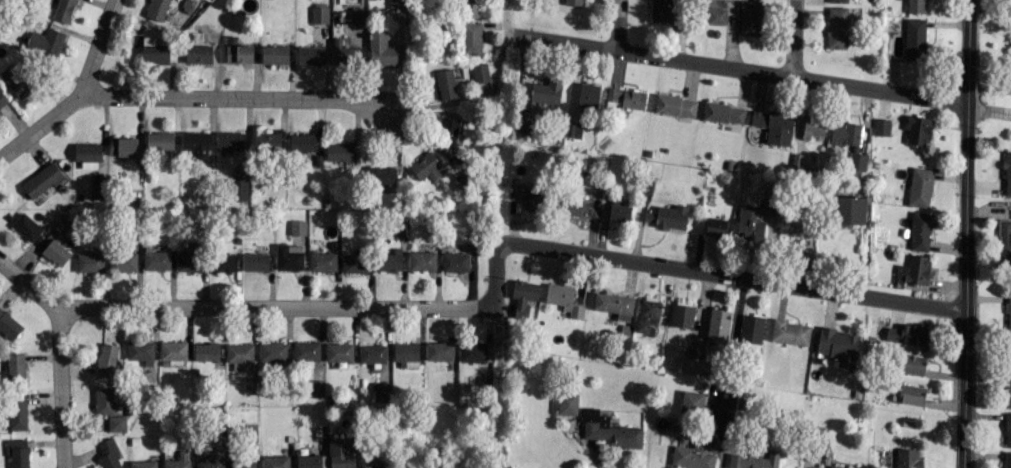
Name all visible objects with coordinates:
building: (1010, 0)
building: (837, 1)
building: (574, 2)
building: (396, 3)
building: (916, 6)
building: (472, 8)
building: (157, 9)
building: (64, 10)
building: (661, 10)
building: (319, 14)
building: (357, 15)
building: (716, 16)
road: (506, 17)
building: (748, 17)
road: (617, 23)
building: (836, 27)
road: (791, 37)
building: (470, 38)
building: (914, 39)
building: (45, 43)
building: (380, 49)
building: (237, 52)
building: (155, 53)
building: (344, 53)
building: (197, 54)
building: (274, 55)
building: (310, 55)
road: (737, 66)
building: (479, 73)
building: (16, 79)
building: (445, 84)
building: (546, 91)
road: (79, 93)
building: (587, 95)
road: (238, 98)
building: (625, 98)
building: (2, 99)
building: (674, 105)
road: (989, 110)
building: (0, 113)
building: (723, 113)
building: (774, 125)
building: (813, 127)
building: (881, 127)
building: (917, 130)
building: (447, 131)
building: (159, 140)
building: (230, 141)
building: (848, 141)
building: (266, 142)
building: (302, 142)
building: (196, 144)
building: (123, 146)
building: (339, 151)
building: (87, 155)
building: (427, 166)
building: (1007, 173)
building: (380, 175)
building: (41, 180)
building: (919, 187)
building: (239, 189)
building: (94, 193)
building: (528, 195)
building: (572, 203)
building: (848, 209)
building: (619, 211)
building: (667, 217)
building: (749, 223)
building: (25, 227)
building: (297, 227)
building: (715, 227)
building: (919, 231)
road: (966, 234)
building: (1004, 241)
building: (55, 252)
building: (288, 257)
building: (156, 259)
building: (188, 260)
building: (389, 260)
building: (421, 260)
building: (122, 261)
building: (89, 262)
building: (255, 262)
building: (322, 262)
building: (455, 262)
building: (222, 263)
building: (355, 263)
building: (914, 269)
road: (494, 270)
road: (736, 276)
building: (523, 297)
building: (562, 299)
building: (614, 305)
road: (238, 308)
building: (1008, 311)
building: (681, 315)
building: (647, 316)
building: (718, 324)
building: (9, 325)
building: (751, 329)
building: (790, 332)
building: (906, 334)
road: (494, 336)
building: (1009, 344)
building: (838, 346)
building: (139, 350)
building: (305, 350)
building: (173, 351)
building: (206, 351)
building: (439, 351)
building: (272, 352)
building: (339, 352)
building: (472, 352)
building: (372, 353)
building: (406, 354)
building: (239, 356)
building: (106, 360)
building: (911, 364)
building: (690, 365)
building: (15, 367)
building: (249, 385)
road: (59, 388)
building: (1008, 390)
building: (380, 392)
building: (907, 394)
building: (104, 400)
building: (691, 402)
building: (567, 403)
building: (17, 411)
building: (117, 423)
building: (1007, 429)
building: (609, 431)
building: (17, 452)
building: (341, 453)
building: (108, 454)
building: (211, 456)
building: (692, 456)
building: (907, 458)
building: (374, 459)
building: (1007, 459)
building: (178, 460)
building: (753, 460)
building: (275, 461)
building: (308, 461)
building: (242, 462)
building: (142, 464)
building: (839, 467)

